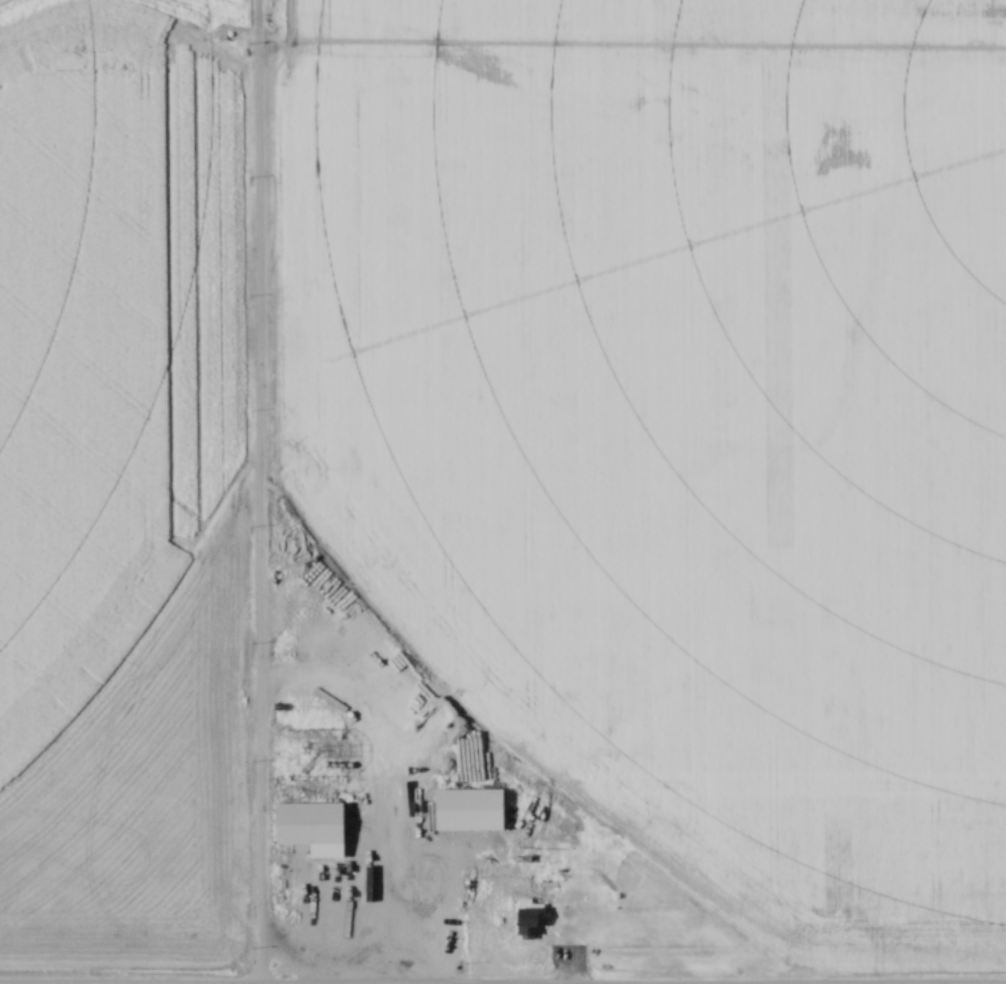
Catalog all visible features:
road: (257, 492)
building: (308, 824)
road: (602, 918)

